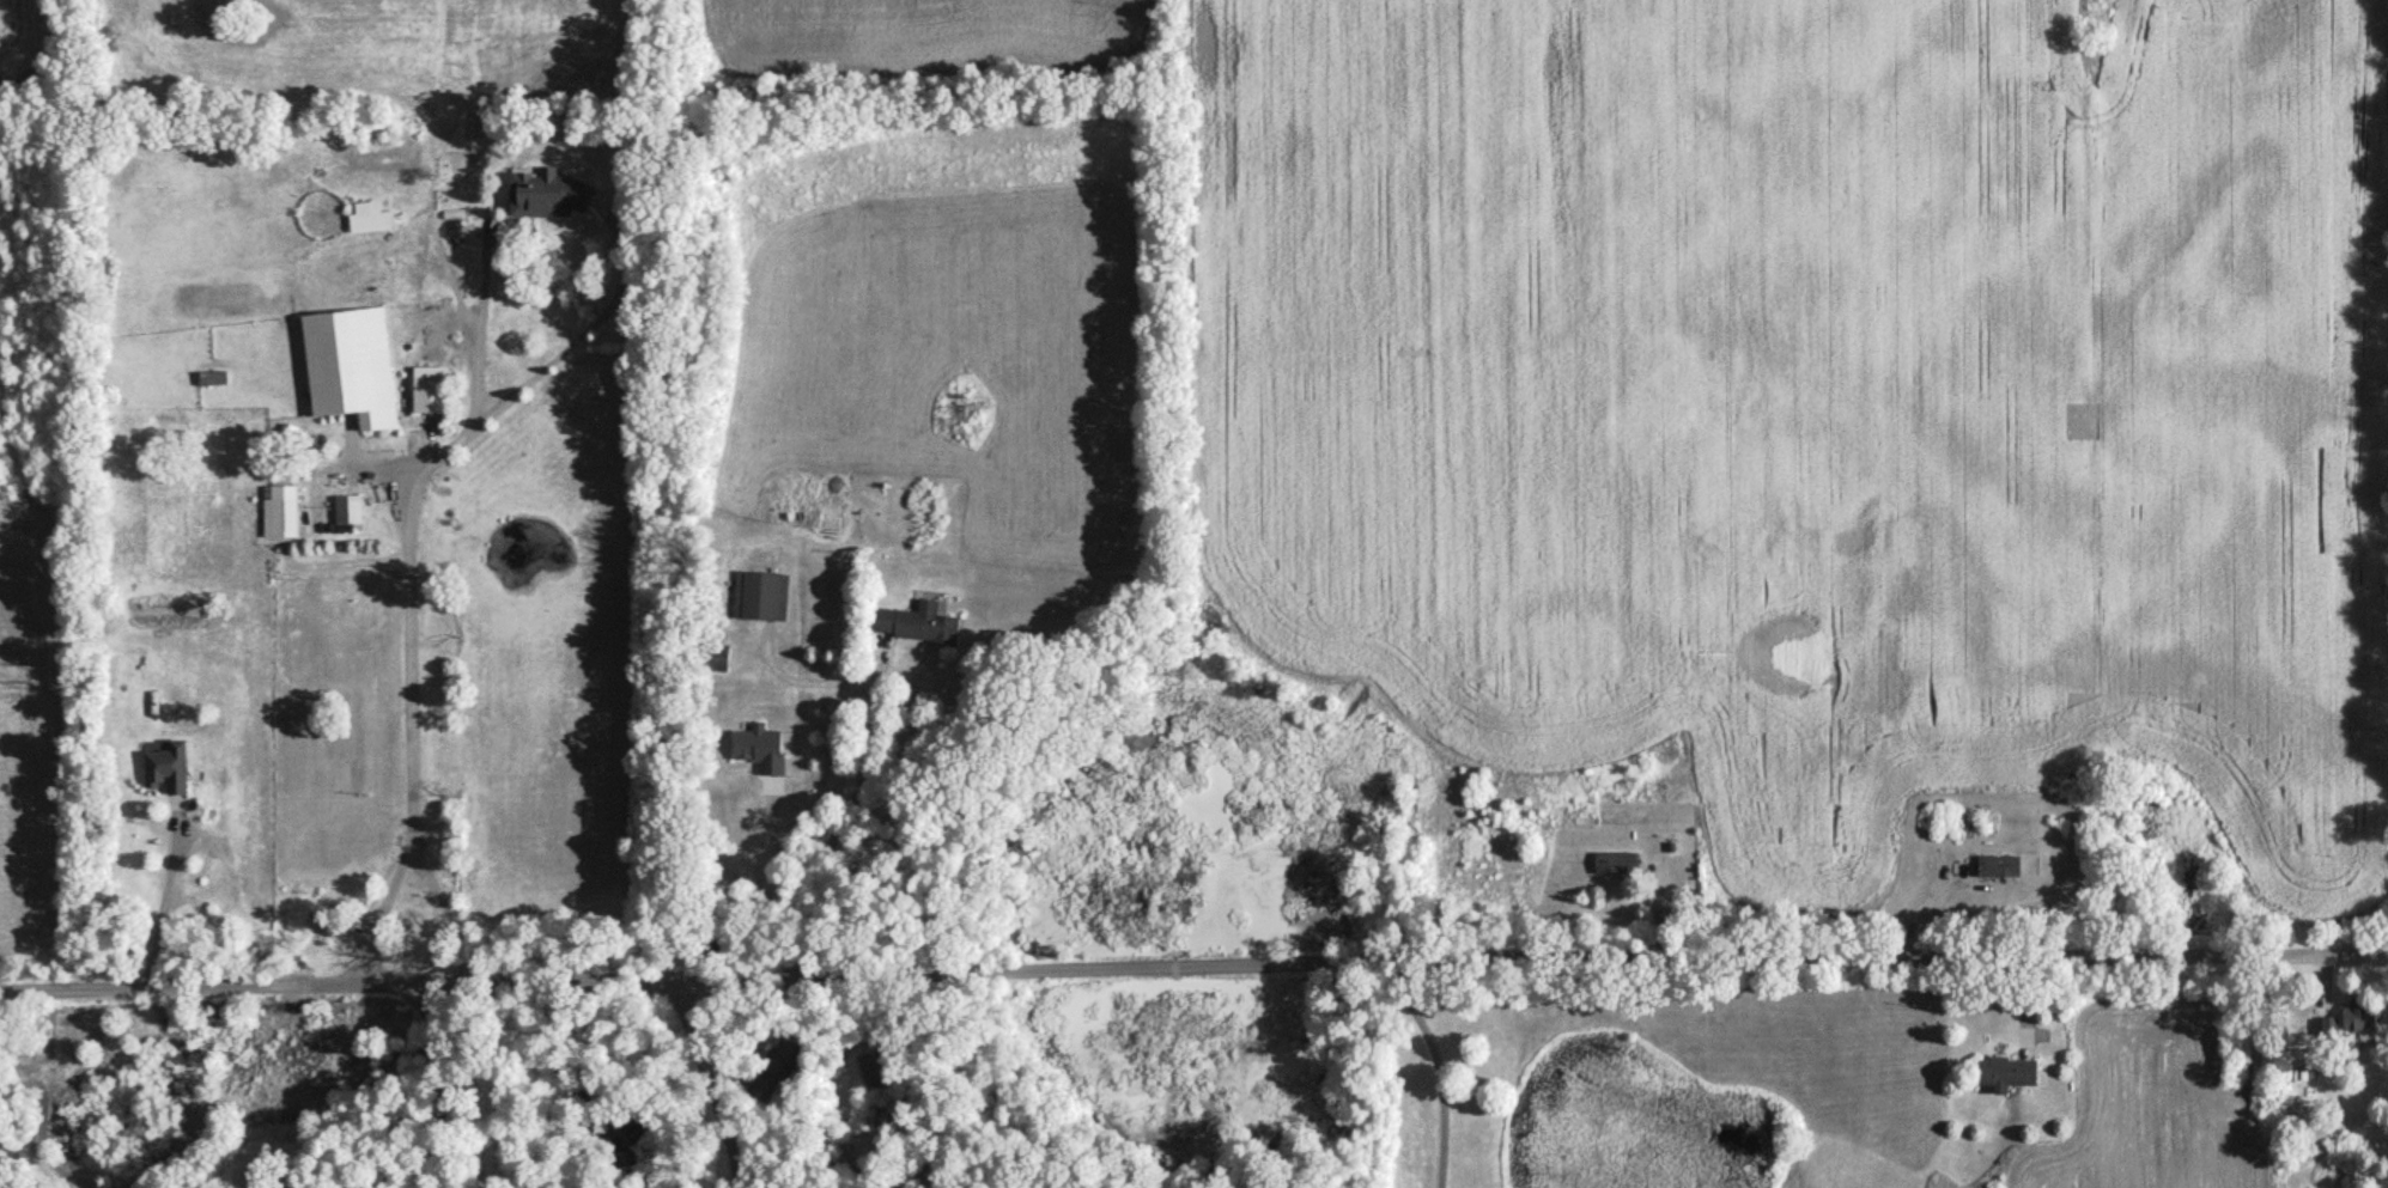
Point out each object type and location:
building: (560, 201)
road: (492, 325)
building: (352, 371)
building: (214, 382)
building: (590, 383)
building: (432, 394)
building: (350, 513)
building: (280, 514)
road: (408, 558)
building: (762, 599)
building: (917, 628)
building: (168, 769)
road: (841, 816)
building: (2000, 870)
road: (166, 892)
road: (1193, 959)
building: (2362, 1024)
road: (1442, 1067)
building: (864, 1073)
road: (710, 1076)
building: (2010, 1077)
road: (435, 1082)

